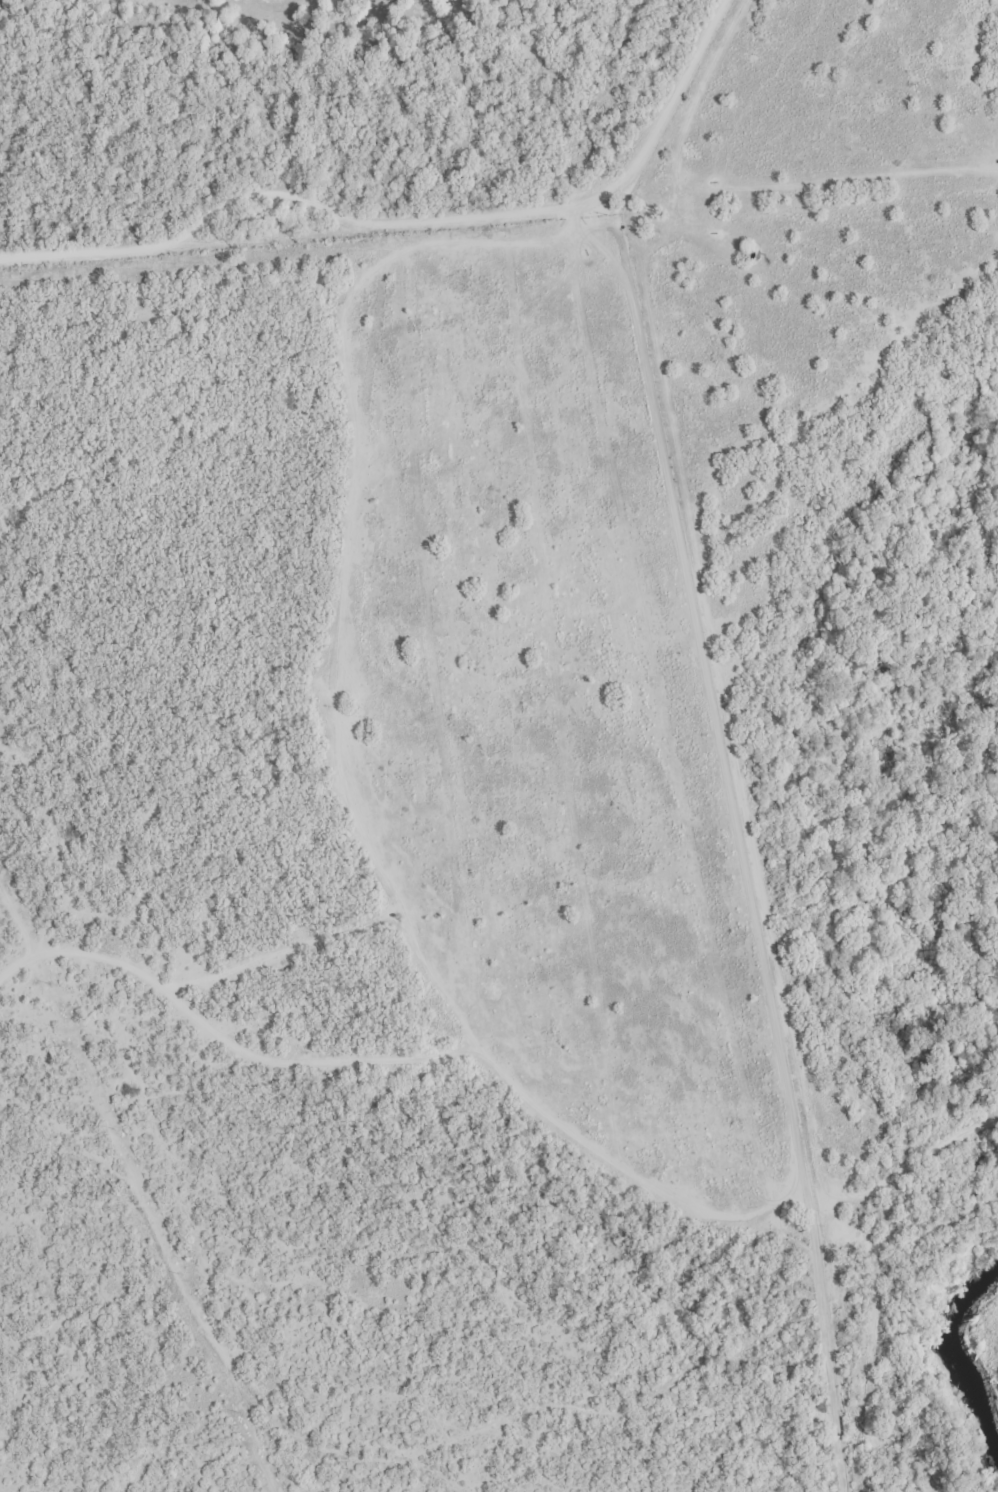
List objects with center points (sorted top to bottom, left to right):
road: (912, 100)
road: (421, 222)
road: (406, 1057)
river: (961, 1359)

